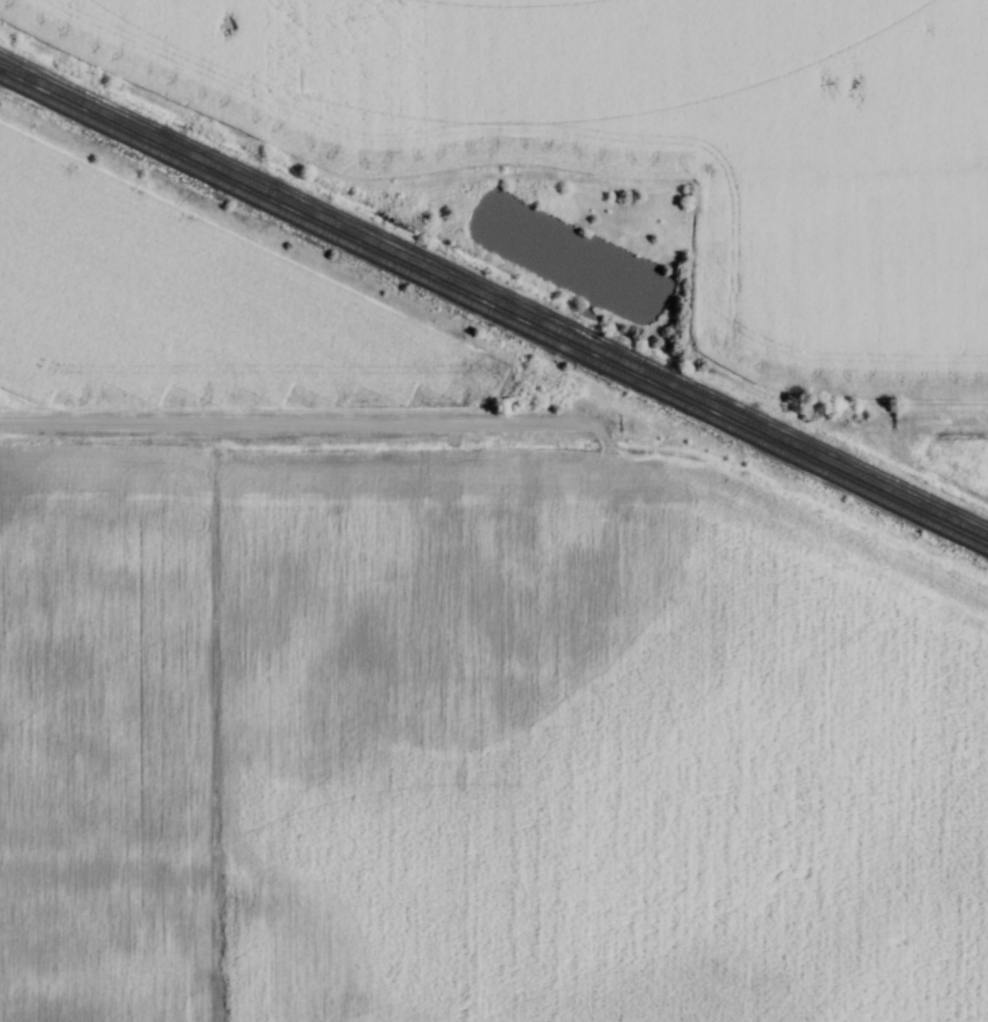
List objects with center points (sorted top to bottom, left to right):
crop: (184, 296)
railway: (493, 300)
railway: (494, 314)
road: (289, 426)
road: (966, 427)

